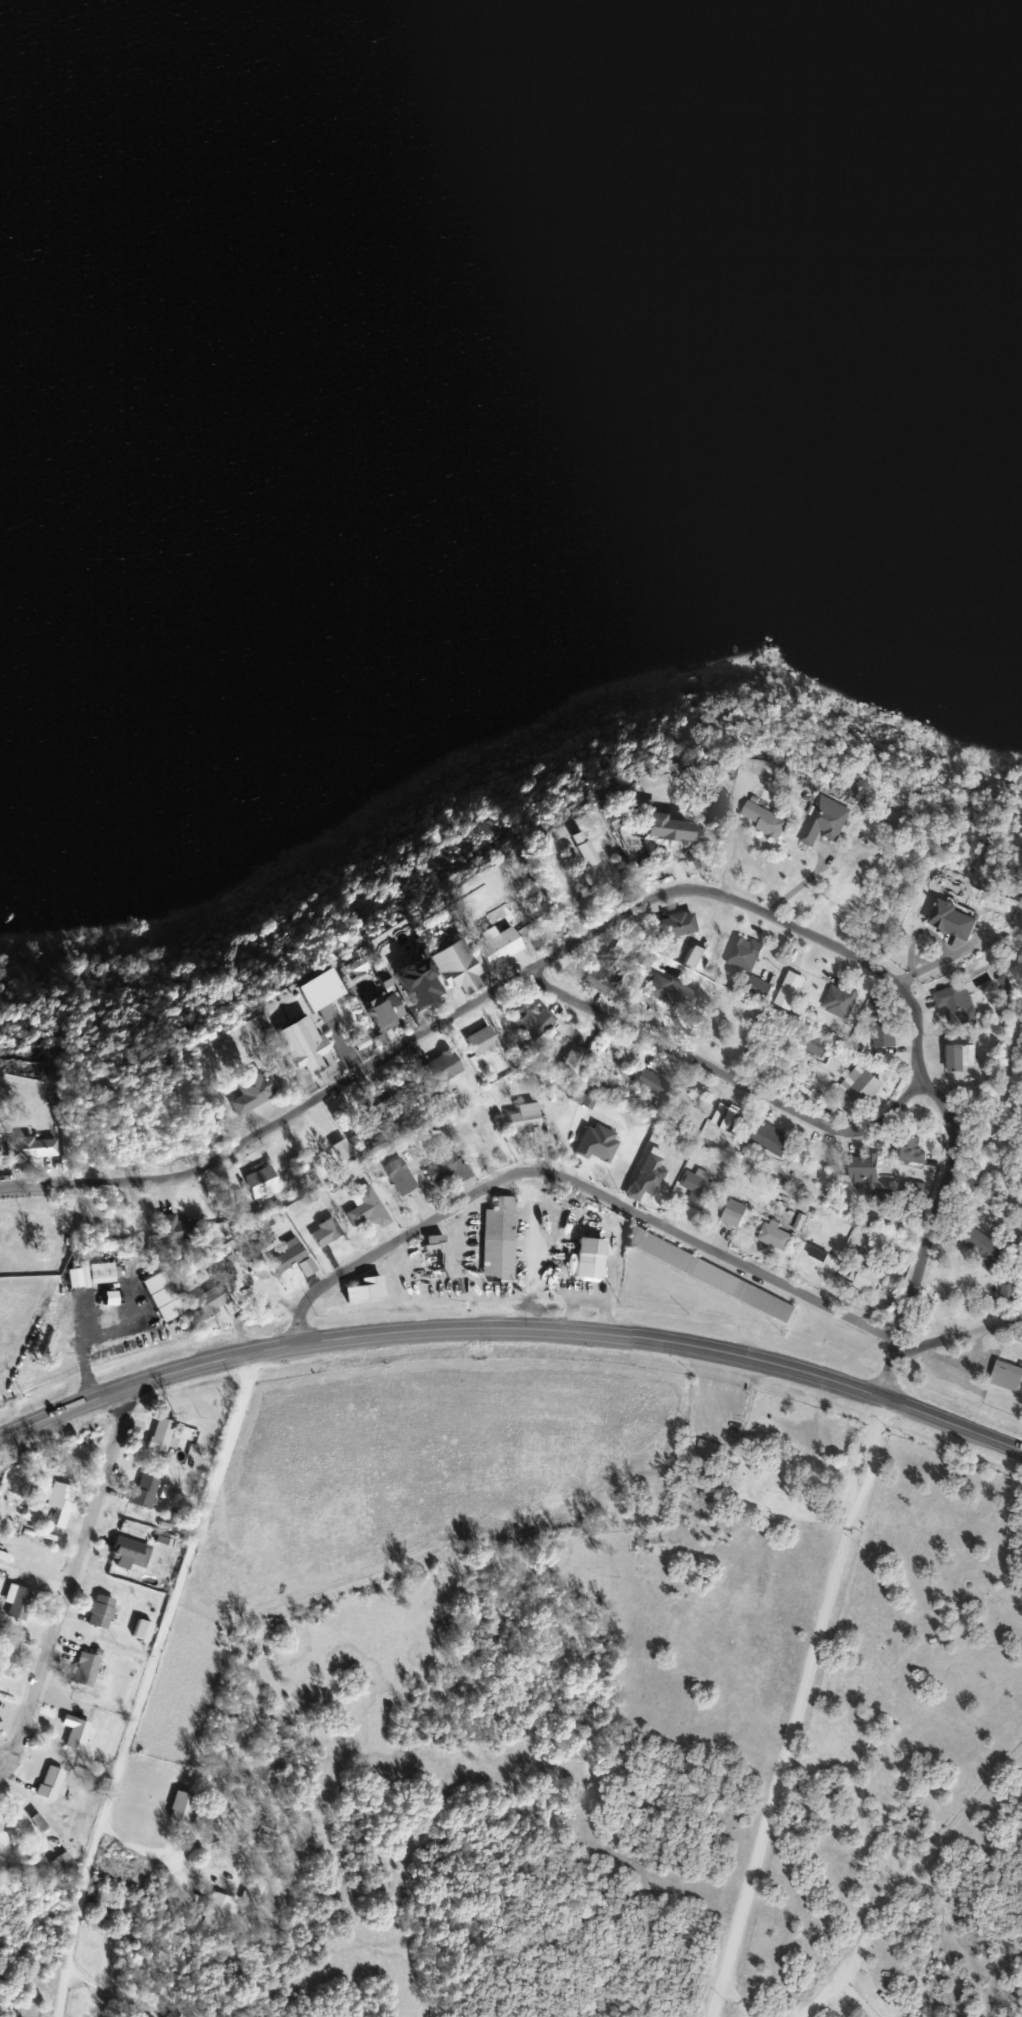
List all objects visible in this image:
building: (831, 820)
building: (672, 826)
building: (586, 843)
building: (961, 919)
building: (678, 926)
building: (505, 945)
building: (746, 953)
building: (463, 967)
building: (602, 977)
building: (426, 983)
building: (326, 989)
building: (675, 989)
road: (481, 999)
building: (841, 1001)
building: (959, 1004)
building: (392, 1012)
building: (309, 1044)
building: (965, 1057)
building: (575, 1065)
road: (727, 1070)
road: (1003, 1074)
building: (658, 1085)
building: (862, 1088)
building: (257, 1089)
building: (383, 1098)
building: (528, 1117)
building: (730, 1118)
building: (775, 1139)
building: (0, 1143)
building: (36, 1148)
building: (915, 1150)
building: (449, 1164)
building: (865, 1167)
building: (403, 1176)
building: (651, 1177)
building: (265, 1181)
building: (700, 1189)
building: (369, 1208)
road: (936, 1210)
road: (637, 1215)
building: (738, 1215)
building: (329, 1232)
building: (515, 1234)
building: (778, 1236)
building: (985, 1245)
building: (296, 1258)
building: (594, 1259)
building: (434, 1267)
building: (105, 1272)
building: (714, 1274)
building: (868, 1280)
building: (370, 1289)
building: (1010, 1296)
building: (213, 1302)
road: (512, 1329)
building: (1008, 1376)
building: (165, 1434)
building: (712, 1451)
building: (147, 1491)
building: (64, 1502)
building: (35, 1515)
building: (132, 1553)
road: (76, 1576)
building: (22, 1602)
building: (104, 1611)
building: (146, 1630)
building: (9, 1654)
building: (88, 1669)
road: (148, 1686)
road: (793, 1706)
building: (79, 1732)
building: (54, 1783)
building: (184, 1806)
building: (271, 1826)
building: (4, 1835)
road: (145, 1850)
building: (64, 1862)
building: (219, 1911)
road: (834, 1987)
road: (104, 1989)
road: (734, 1997)
building: (178, 2013)

